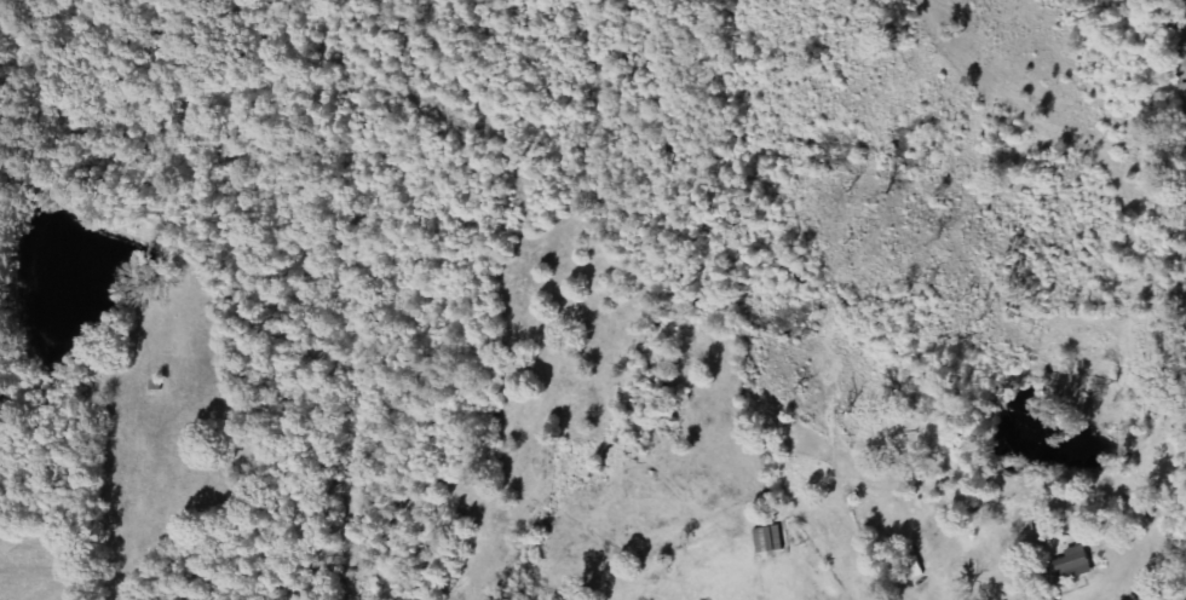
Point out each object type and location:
building: (771, 538)
building: (1078, 562)

